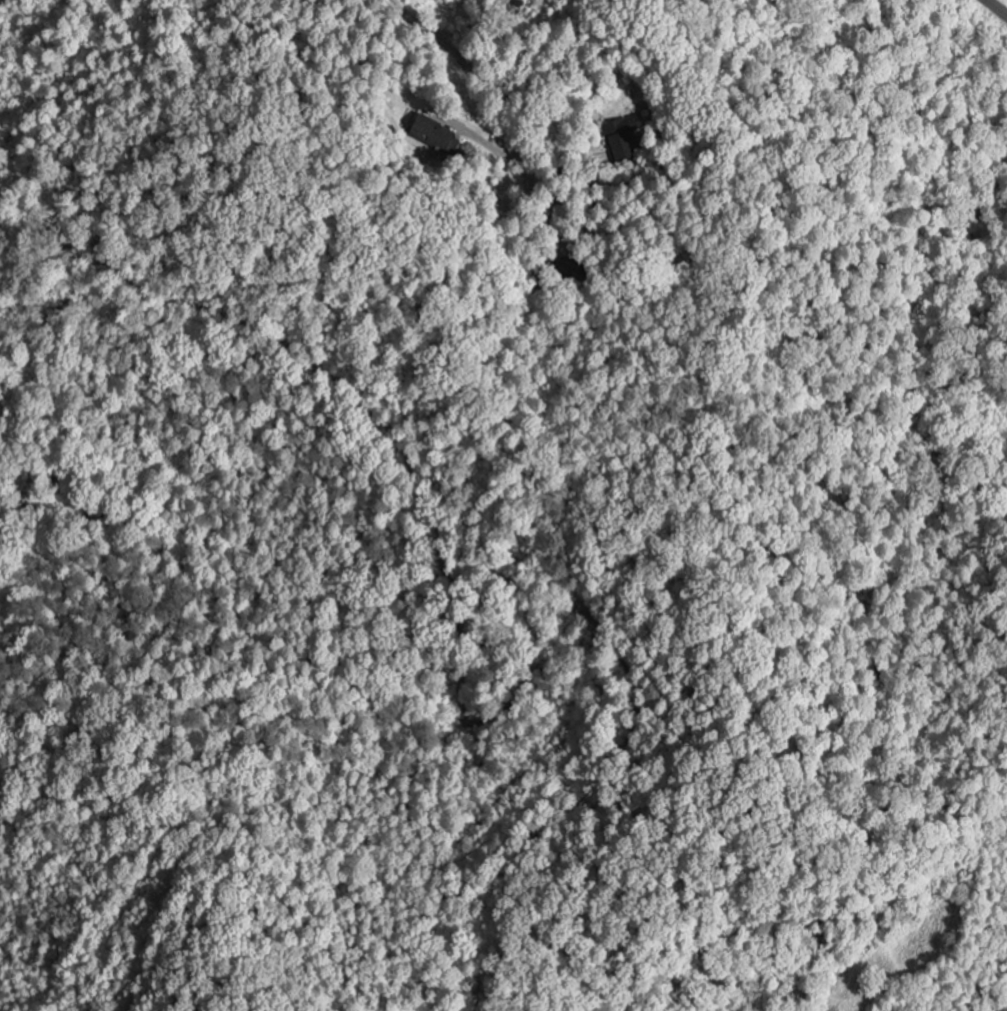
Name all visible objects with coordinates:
road: (997, 7)
road: (470, 69)
building: (430, 134)
building: (619, 143)

